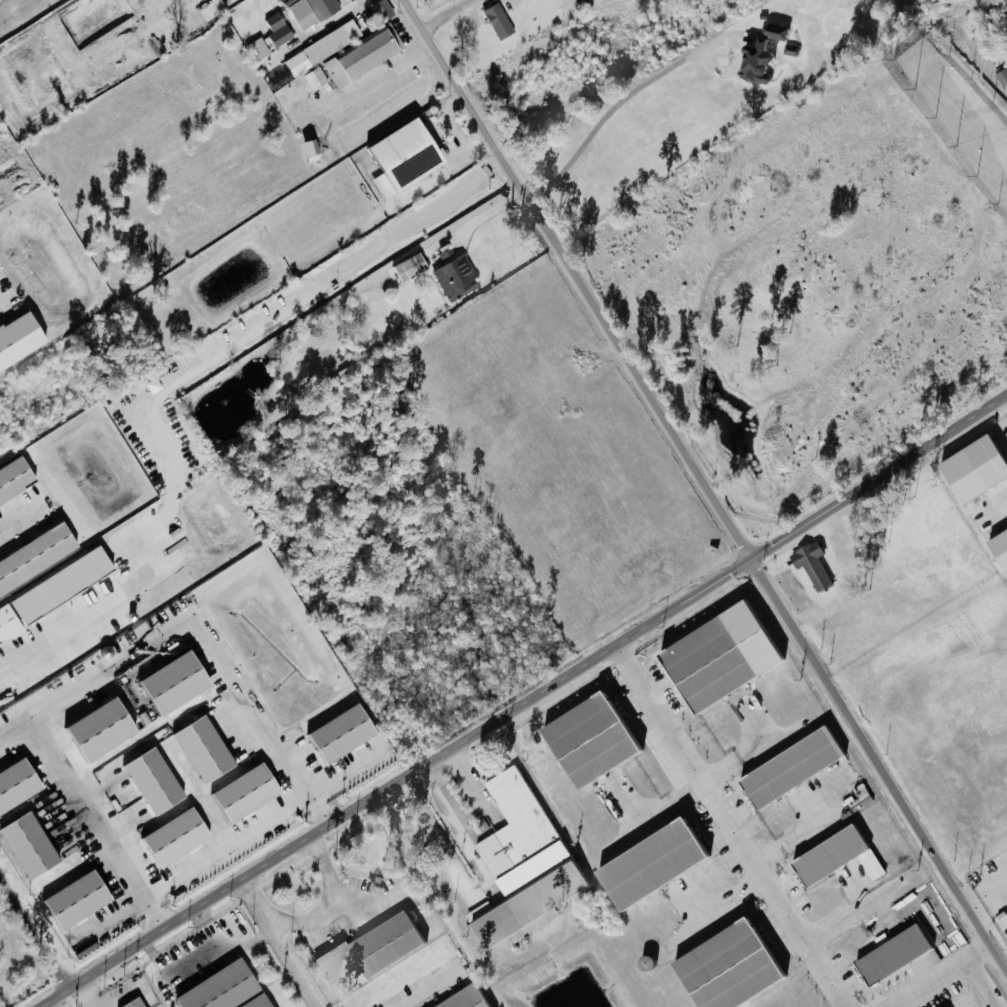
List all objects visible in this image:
road: (361, 2)
building: (384, 10)
building: (313, 11)
road: (449, 15)
building: (499, 21)
road: (325, 27)
building: (279, 29)
building: (323, 47)
building: (258, 49)
building: (760, 55)
building: (355, 61)
road: (388, 75)
road: (617, 105)
building: (313, 149)
building: (408, 157)
road: (373, 247)
road: (407, 255)
park: (827, 264)
building: (411, 268)
building: (455, 275)
building: (21, 340)
road: (1006, 394)
building: (968, 470)
building: (17, 482)
road: (705, 490)
road: (12, 513)
building: (996, 549)
building: (38, 559)
building: (807, 566)
building: (53, 596)
road: (70, 621)
building: (721, 657)
road: (109, 667)
building: (178, 685)
road: (525, 701)
road: (14, 726)
building: (103, 731)
building: (346, 734)
building: (592, 739)
building: (208, 750)
building: (792, 767)
building: (158, 782)
building: (19, 786)
building: (249, 795)
road: (730, 825)
building: (180, 838)
building: (33, 847)
road: (231, 847)
building: (830, 855)
building: (522, 862)
building: (654, 862)
road: (993, 871)
road: (475, 886)
building: (81, 900)
road: (336, 908)
road: (848, 912)
road: (211, 926)
road: (36, 930)
building: (386, 943)
road: (277, 944)
road: (983, 947)
road: (977, 952)
building: (894, 954)
road: (201, 959)
building: (729, 965)
road: (933, 980)
building: (219, 988)
road: (429, 990)
road: (150, 995)
road: (81, 996)
road: (123, 997)
building: (466, 998)
building: (257, 1002)
building: (132, 1003)

